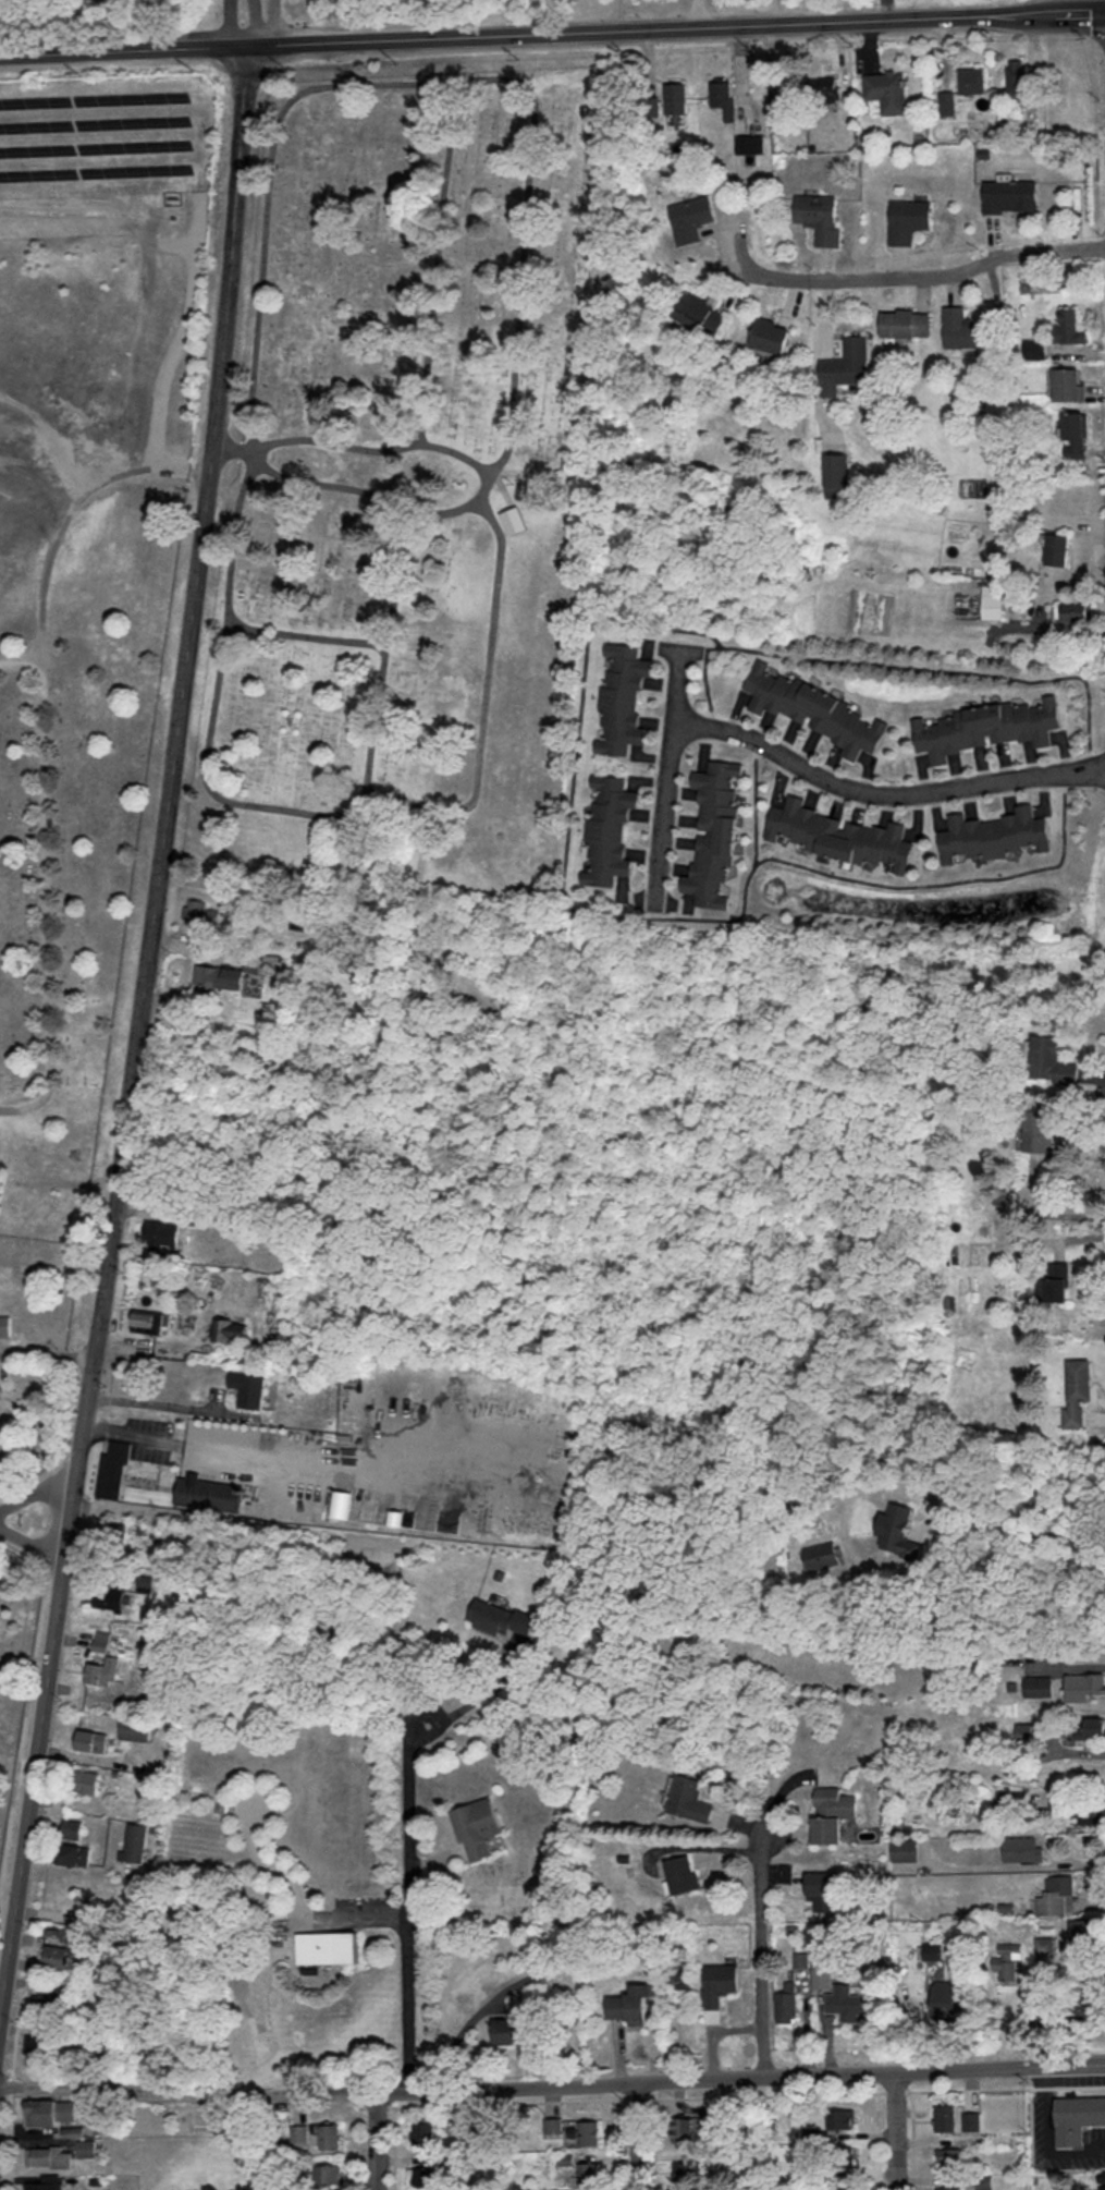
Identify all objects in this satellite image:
road: (698, 14)
road: (614, 15)
road: (277, 21)
road: (233, 22)
road: (680, 28)
road: (127, 47)
building: (1019, 77)
building: (972, 80)
building: (785, 88)
building: (826, 88)
building: (886, 89)
building: (676, 97)
building: (724, 97)
building: (947, 101)
solar farm: (105, 134)
building: (749, 143)
building: (1010, 194)
road: (523, 204)
building: (822, 216)
building: (691, 217)
building: (909, 219)
road: (433, 260)
road: (930, 276)
building: (700, 313)
building: (906, 323)
building: (1070, 326)
building: (962, 329)
building: (771, 334)
road: (176, 338)
building: (846, 366)
building: (1067, 384)
building: (1076, 428)
road: (349, 446)
park: (406, 471)
building: (836, 474)
road: (359, 488)
building: (525, 489)
building: (1078, 497)
building: (1033, 510)
building: (1058, 548)
building: (994, 600)
building: (1077, 610)
road: (1064, 621)
road: (302, 633)
road: (21, 662)
building: (622, 699)
building: (817, 709)
building: (985, 727)
road: (44, 751)
park: (76, 769)
road: (667, 775)
road: (882, 794)
road: (260, 803)
building: (609, 828)
building: (715, 831)
building: (840, 835)
building: (994, 835)
building: (200, 910)
building: (221, 975)
road: (140, 1027)
building: (1051, 1060)
building: (1039, 1130)
road: (1051, 1214)
building: (160, 1233)
building: (1057, 1281)
building: (151, 1322)
building: (5, 1326)
building: (231, 1329)
road: (48, 1354)
building: (249, 1388)
building: (1078, 1390)
road: (172, 1407)
road: (307, 1456)
building: (161, 1483)
road: (37, 1493)
building: (341, 1502)
building: (900, 1530)
road: (1026, 1530)
road: (33, 1544)
building: (823, 1555)
building: (110, 1597)
building: (500, 1617)
building: (101, 1640)
road: (1069, 1666)
building: (102, 1671)
building: (1038, 1684)
building: (1084, 1686)
road: (27, 1700)
building: (135, 1727)
building: (1091, 1730)
building: (1024, 1731)
building: (91, 1740)
building: (86, 1780)
building: (688, 1798)
building: (833, 1813)
building: (1090, 1816)
building: (477, 1827)
building: (72, 1828)
building: (135, 1840)
building: (1022, 1847)
building: (905, 1849)
building: (74, 1853)
building: (683, 1873)
building: (823, 1888)
building: (1057, 1895)
road: (407, 1901)
building: (1089, 1932)
building: (328, 1946)
building: (932, 1949)
road: (761, 1952)
building: (57, 1955)
building: (1006, 1960)
building: (680, 1975)
building: (822, 1976)
road: (22, 1982)
building: (720, 1983)
building: (946, 1993)
building: (788, 1999)
building: (847, 2002)
building: (631, 2003)
building: (1086, 2009)
road: (16, 2029)
building: (507, 2030)
building: (38, 2044)
road: (552, 2086)
road: (1004, 2088)
road: (894, 2090)
road: (761, 2095)
road: (636, 2097)
road: (507, 2101)
road: (376, 2106)
building: (51, 2110)
building: (944, 2117)
building: (1077, 2117)
building: (842, 2118)
building: (971, 2120)
building: (687, 2128)
building: (590, 2131)
road: (901, 2131)
road: (12, 2132)
building: (299, 2132)
building: (422, 2133)
building: (330, 2136)
road: (638, 2137)
road: (879, 2137)
road: (378, 2140)
road: (911, 2140)
road: (619, 2144)
road: (653, 2144)
building: (87, 2146)
road: (360, 2146)
road: (394, 2148)
building: (50, 2155)
building: (843, 2155)
building: (950, 2156)
building: (687, 2170)
building: (589, 2171)
building: (329, 2173)
building: (423, 2176)
building: (1102, 2176)
building: (48, 2181)
building: (844, 2187)
building: (1102, 2187)
building: (947, 2188)

